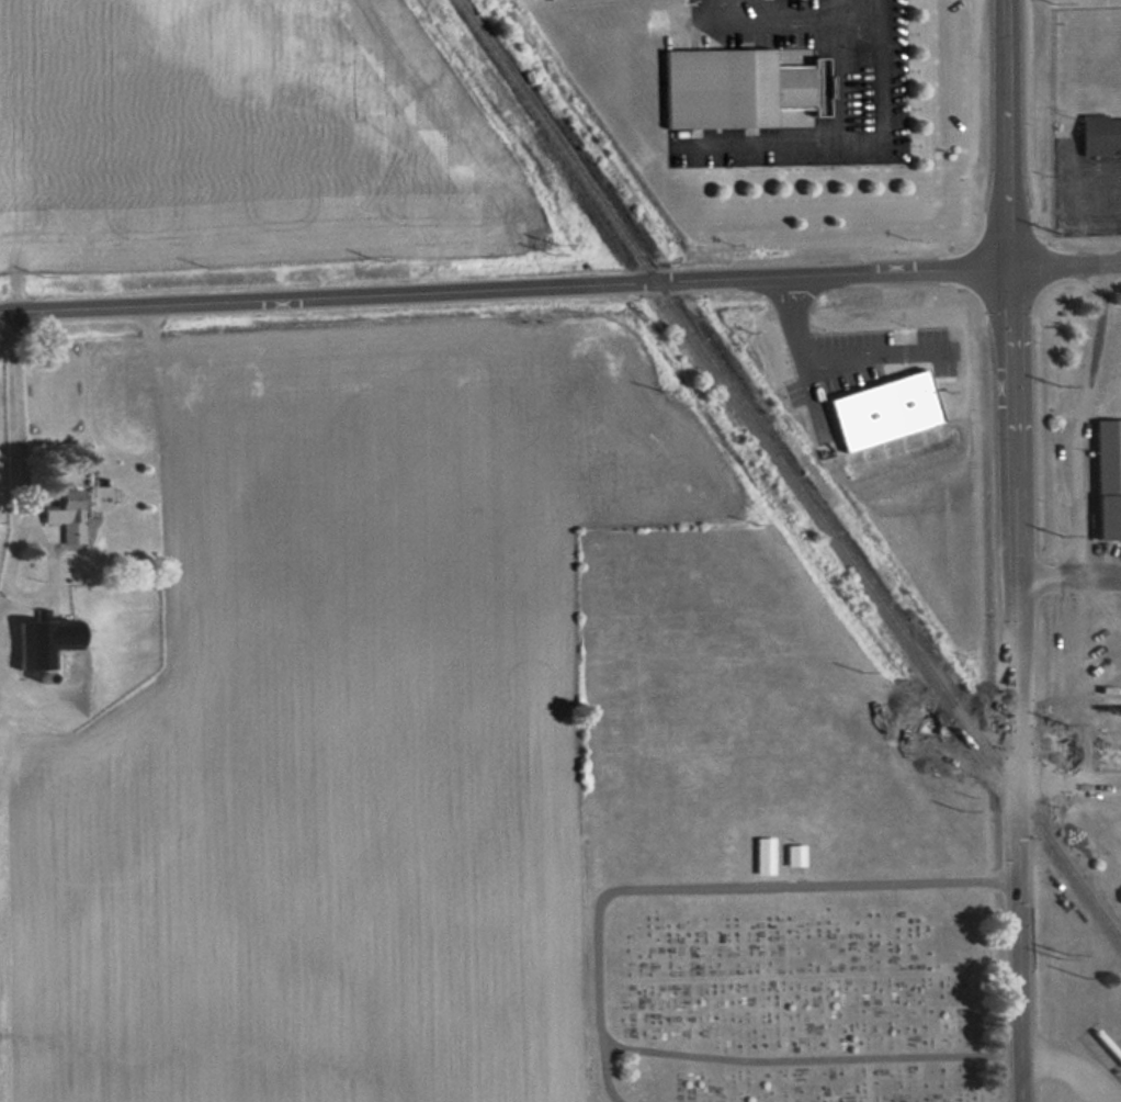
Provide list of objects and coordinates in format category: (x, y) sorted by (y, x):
road: (733, 10)
building: (729, 85)
building: (1099, 135)
road: (1066, 265)
road: (506, 289)
railway: (791, 471)
building: (1106, 479)
building: (64, 513)
road: (1015, 550)
building: (38, 641)
building: (1113, 709)
building: (763, 854)
building: (794, 854)
road: (599, 968)
park: (788, 986)
road: (609, 1077)

